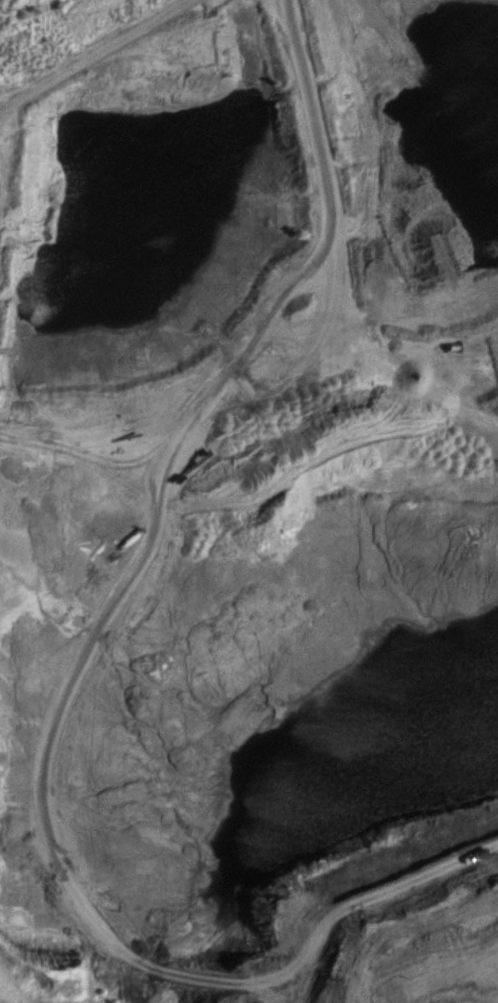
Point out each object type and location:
quarry: (249, 501)

